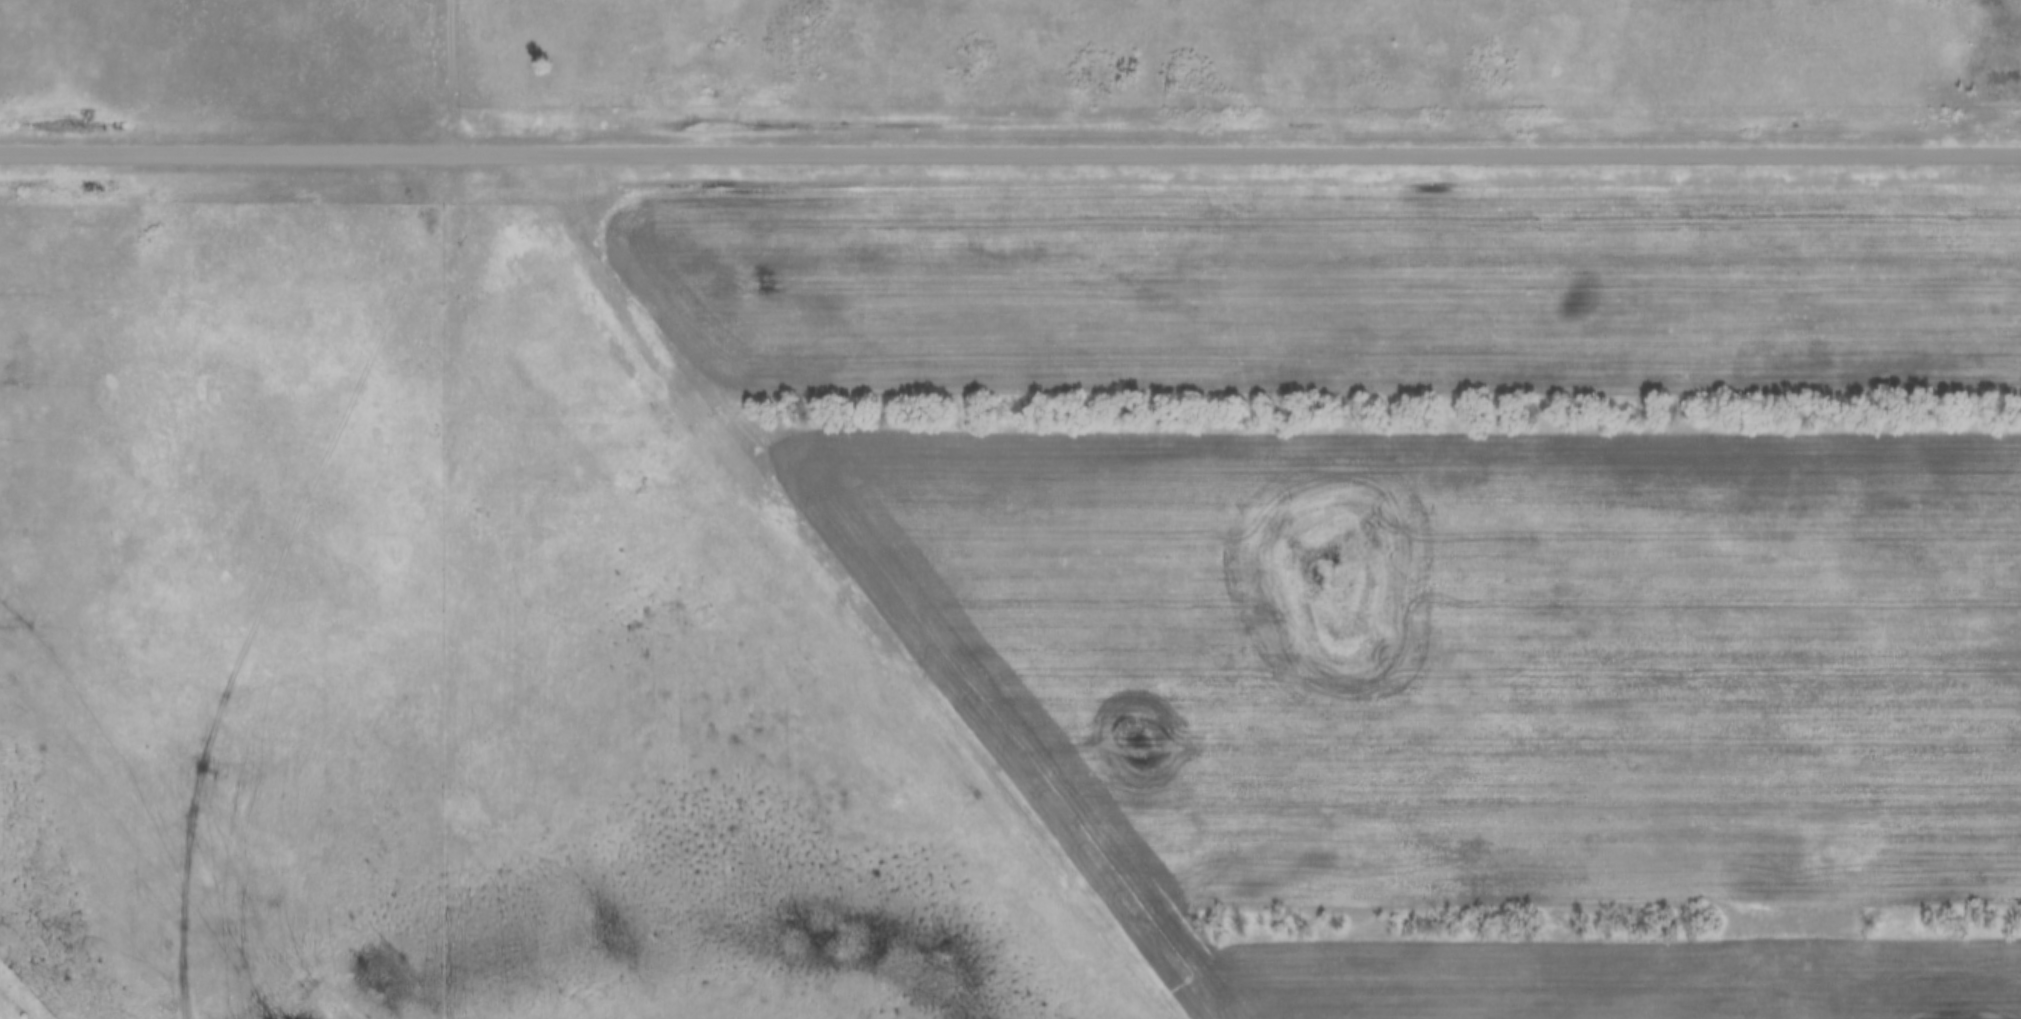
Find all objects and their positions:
road: (1010, 149)

